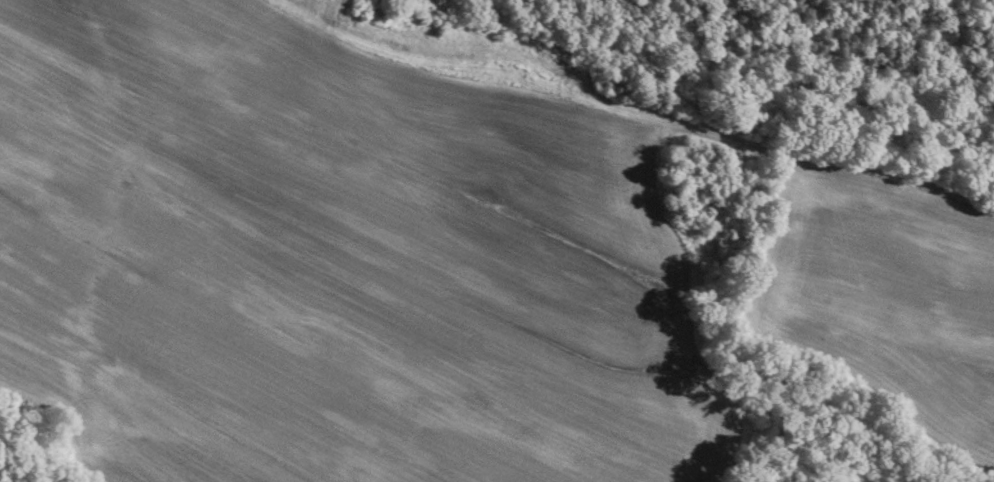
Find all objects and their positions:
road: (205, 254)

